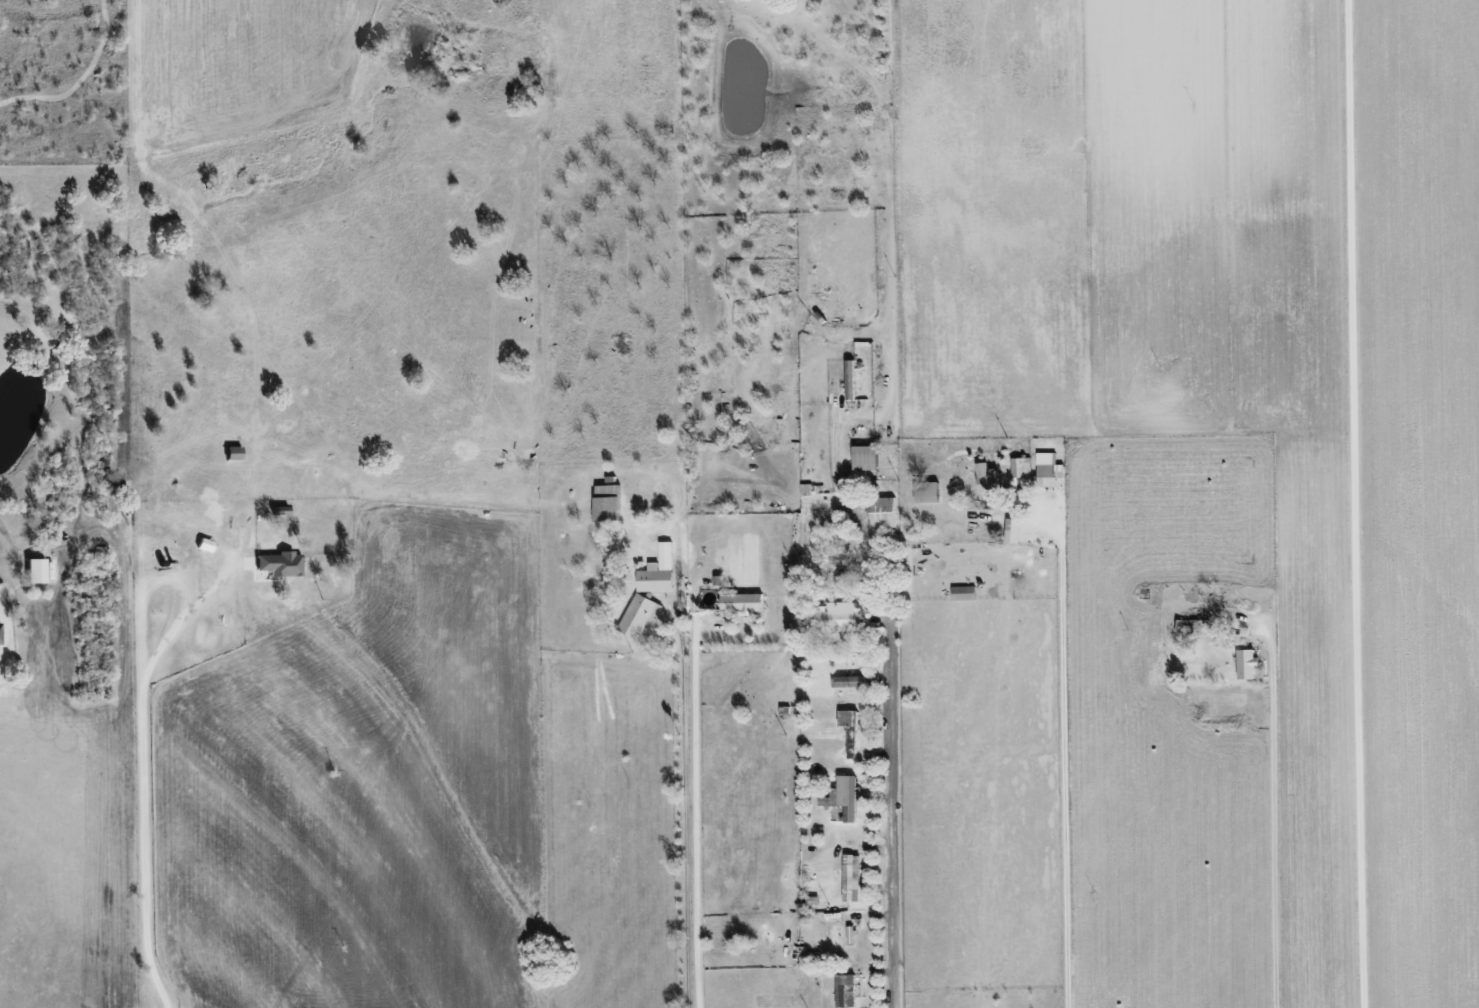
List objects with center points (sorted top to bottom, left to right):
building: (851, 379)
building: (234, 452)
building: (866, 457)
building: (1048, 469)
building: (988, 481)
building: (927, 491)
building: (608, 501)
road: (1359, 504)
building: (884, 512)
road: (854, 518)
building: (1013, 530)
building: (281, 563)
building: (36, 570)
building: (659, 571)
building: (964, 592)
building: (743, 602)
building: (640, 615)
building: (838, 616)
building: (0, 635)
building: (1247, 663)
building: (856, 680)
building: (851, 729)
road: (1062, 747)
road: (142, 787)
road: (683, 796)
building: (844, 797)
road: (891, 801)
road: (1271, 824)
building: (853, 877)
building: (846, 990)

